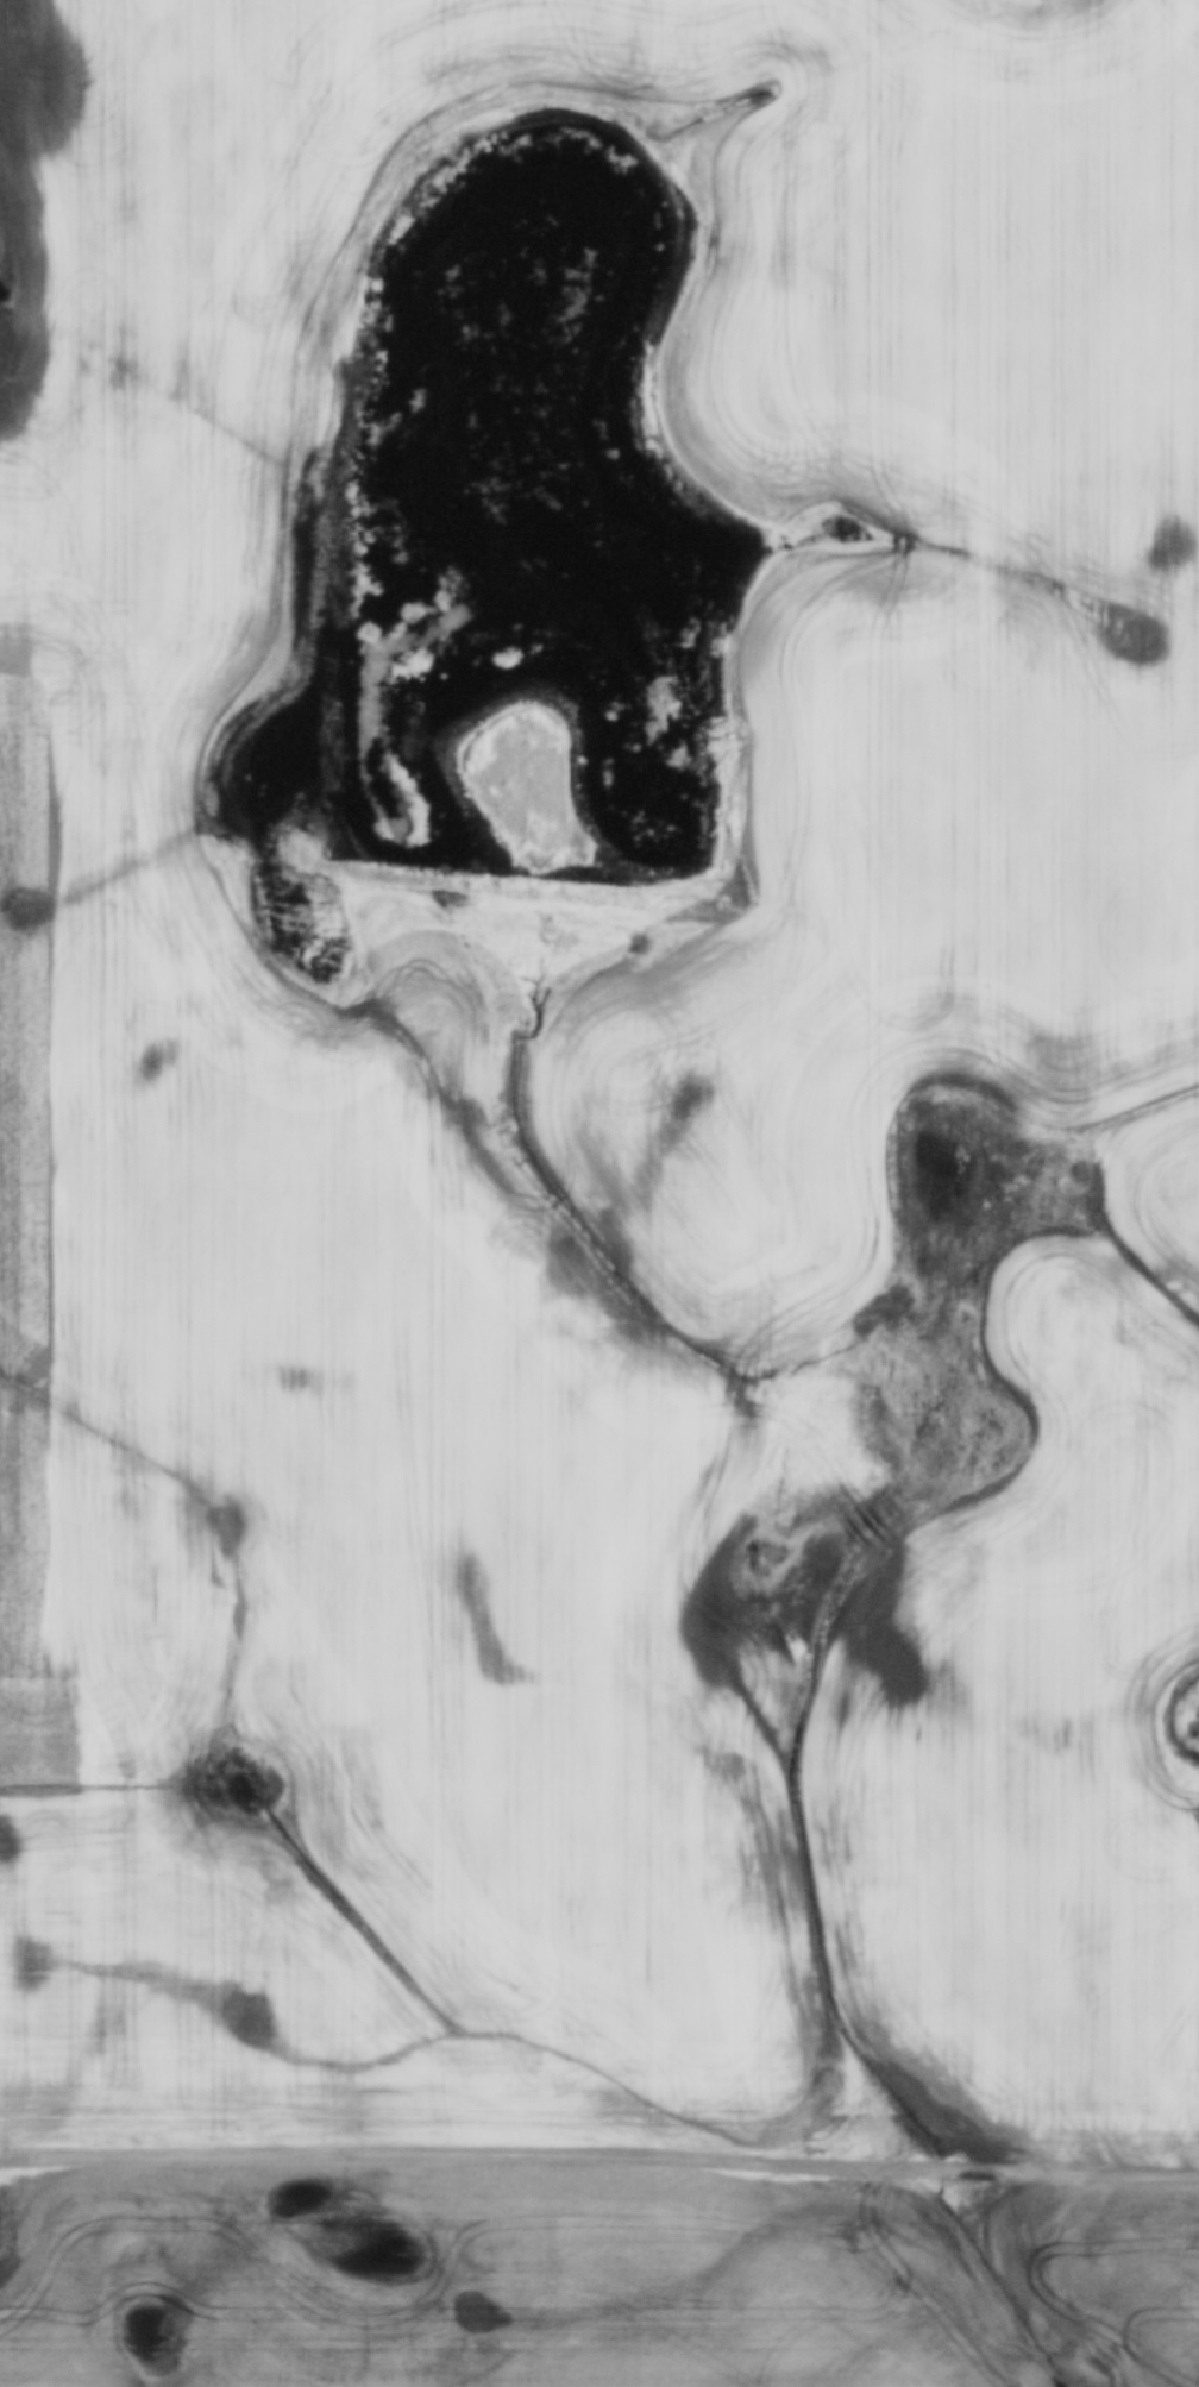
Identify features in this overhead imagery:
road: (599, 2161)

